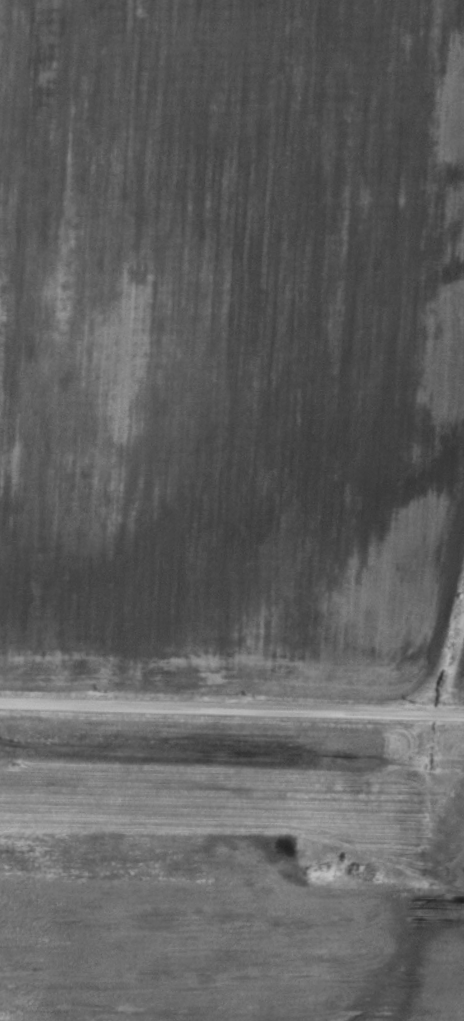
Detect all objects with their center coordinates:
road: (232, 706)

